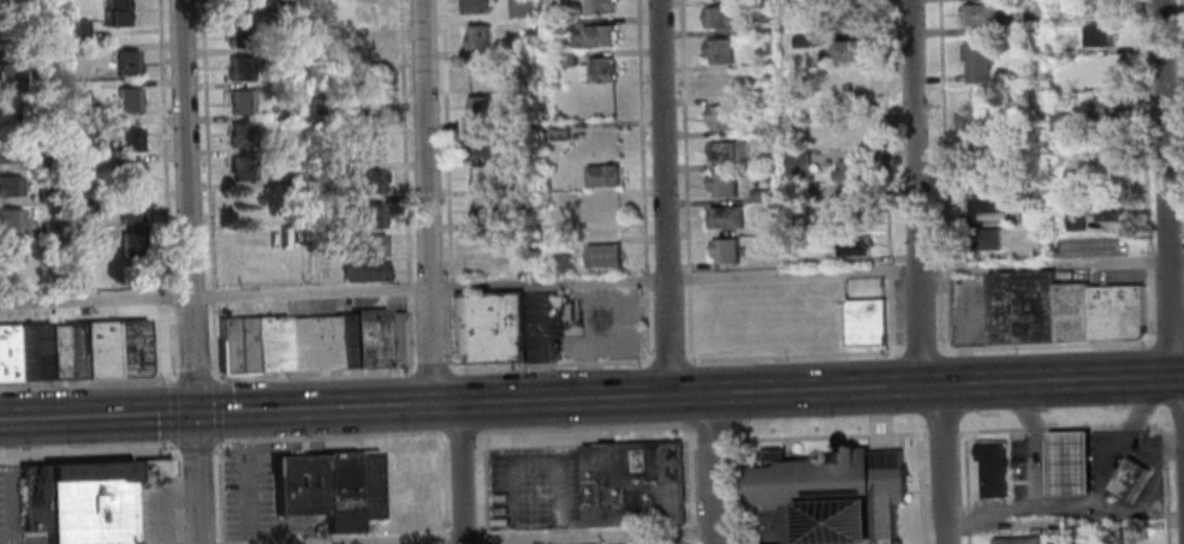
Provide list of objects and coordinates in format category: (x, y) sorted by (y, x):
road: (1183, 4)
building: (237, 6)
building: (600, 6)
building: (475, 7)
building: (1099, 7)
building: (520, 8)
building: (282, 10)
building: (118, 12)
building: (363, 14)
building: (978, 16)
building: (6, 17)
building: (1058, 17)
building: (721, 18)
building: (845, 18)
building: (557, 25)
building: (79, 28)
building: (756, 28)
building: (1015, 28)
building: (238, 35)
building: (1099, 36)
building: (316, 37)
building: (595, 37)
building: (477, 38)
building: (802, 41)
building: (365, 48)
building: (520, 48)
building: (719, 50)
building: (846, 52)
building: (565, 59)
building: (129, 61)
building: (977, 61)
building: (239, 68)
building: (597, 71)
building: (10, 72)
building: (477, 73)
building: (1103, 73)
building: (364, 82)
building: (517, 83)
building: (725, 83)
building: (1063, 88)
building: (844, 90)
building: (130, 98)
building: (239, 102)
building: (317, 106)
building: (11, 108)
building: (1107, 108)
building: (478, 109)
building: (365, 115)
building: (721, 118)
building: (514, 120)
building: (1060, 122)
building: (974, 124)
building: (78, 126)
road: (1146, 126)
road: (944, 130)
road: (686, 131)
road: (886, 131)
building: (559, 132)
building: (240, 134)
road: (642, 134)
building: (850, 136)
building: (130, 138)
road: (404, 139)
road: (446, 139)
road: (165, 143)
road: (208, 144)
building: (481, 144)
building: (1113, 144)
building: (287, 147)
building: (367, 148)
building: (10, 149)
building: (974, 150)
building: (727, 151)
building: (50, 157)
building: (797, 162)
building: (243, 168)
building: (338, 169)
building: (851, 171)
building: (132, 173)
building: (602, 177)
building: (483, 178)
building: (290, 179)
building: (369, 180)
building: (11, 185)
building: (722, 185)
road: (1166, 187)
building: (48, 191)
road: (916, 192)
building: (808, 193)
building: (760, 195)
road: (665, 197)
road: (426, 202)
building: (85, 203)
building: (852, 203)
building: (983, 203)
building: (131, 210)
building: (483, 210)
building: (1107, 210)
building: (1029, 214)
building: (11, 216)
building: (370, 216)
building: (726, 217)
building: (1076, 221)
building: (49, 229)
building: (984, 239)
building: (487, 244)
building: (852, 245)
building: (54, 246)
building: (1101, 246)
building: (133, 247)
building: (363, 247)
building: (11, 251)
building: (725, 251)
building: (603, 257)
road: (1149, 259)
building: (564, 261)
road: (890, 267)
road: (948, 267)
road: (189, 271)
building: (363, 271)
road: (690, 274)
road: (645, 277)
road: (591, 281)
road: (451, 285)
road: (410, 286)
road: (169, 294)
road: (214, 294)
road: (1149, 304)
building: (1022, 309)
road: (891, 312)
road: (950, 312)
building: (1072, 313)
building: (1117, 313)
road: (689, 322)
building: (864, 323)
road: (647, 324)
building: (488, 328)
road: (451, 329)
road: (410, 331)
road: (215, 339)
road: (1167, 340)
road: (171, 341)
building: (311, 343)
road: (1045, 346)
building: (130, 349)
building: (99, 351)
road: (918, 351)
building: (73, 352)
building: (30, 353)
building: (56, 353)
building: (7, 354)
road: (793, 354)
road: (670, 360)
road: (549, 364)
road: (432, 367)
road: (314, 371)
road: (195, 375)
road: (88, 382)
road: (815, 389)
road: (995, 396)
road: (743, 406)
road: (216, 410)
road: (172, 411)
road: (222, 412)
traffic signals: (194, 413)
road: (1027, 416)
road: (996, 419)
road: (1132, 422)
road: (1178, 422)
road: (1066, 428)
road: (583, 429)
road: (744, 429)
road: (945, 431)
road: (323, 436)
road: (826, 436)
road: (480, 437)
road: (1069, 440)
road: (709, 441)
road: (692, 442)
road: (444, 443)
road: (460, 443)
road: (476, 443)
road: (195, 449)
road: (89, 455)
road: (532, 460)
road: (942, 465)
building: (1069, 465)
building: (147, 468)
road: (712, 468)
building: (992, 470)
road: (460, 473)
road: (245, 477)
building: (1128, 480)
road: (439, 482)
road: (1165, 483)
building: (631, 484)
road: (689, 484)
building: (367, 485)
building: (386, 485)
building: (413, 485)
building: (297, 486)
road: (922, 488)
road: (968, 488)
parking lot: (534, 489)
road: (216, 491)
road: (734, 491)
road: (173, 492)
building: (339, 492)
road: (482, 492)
parking lot: (244, 494)
building: (831, 497)
road: (1100, 498)
building: (29, 501)
building: (87, 503)
road: (441, 538)
road: (545, 538)
building: (1113, 539)
building: (1016, 540)
road: (218, 542)
road: (175, 543)
building: (1131, 543)

